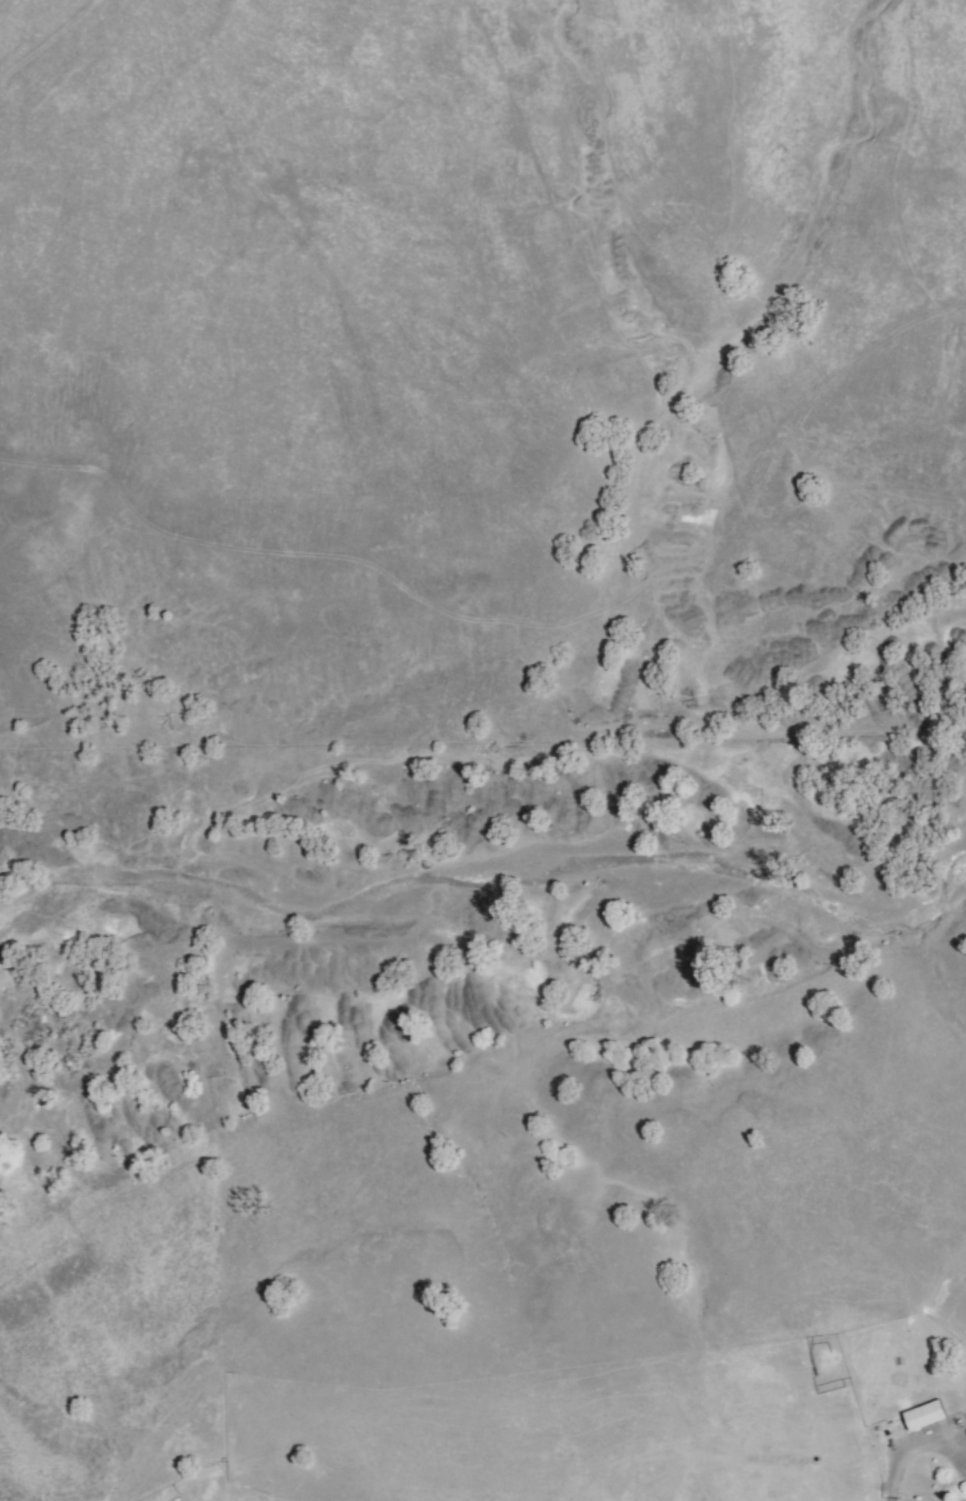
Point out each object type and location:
building: (921, 1415)
road: (912, 1445)

